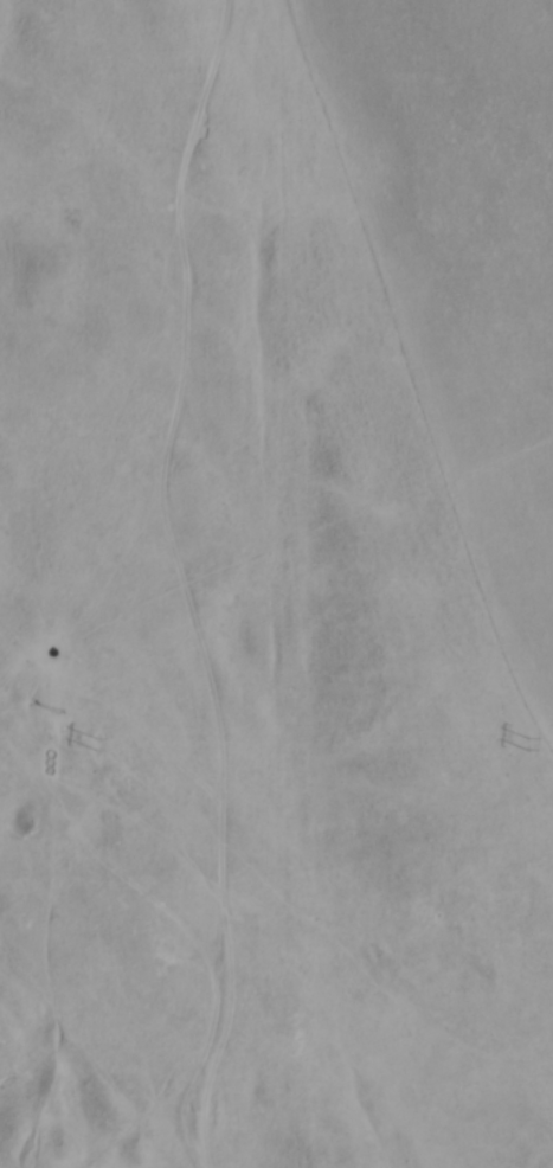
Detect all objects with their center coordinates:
power tower: (94, 745)
power tower: (526, 745)

